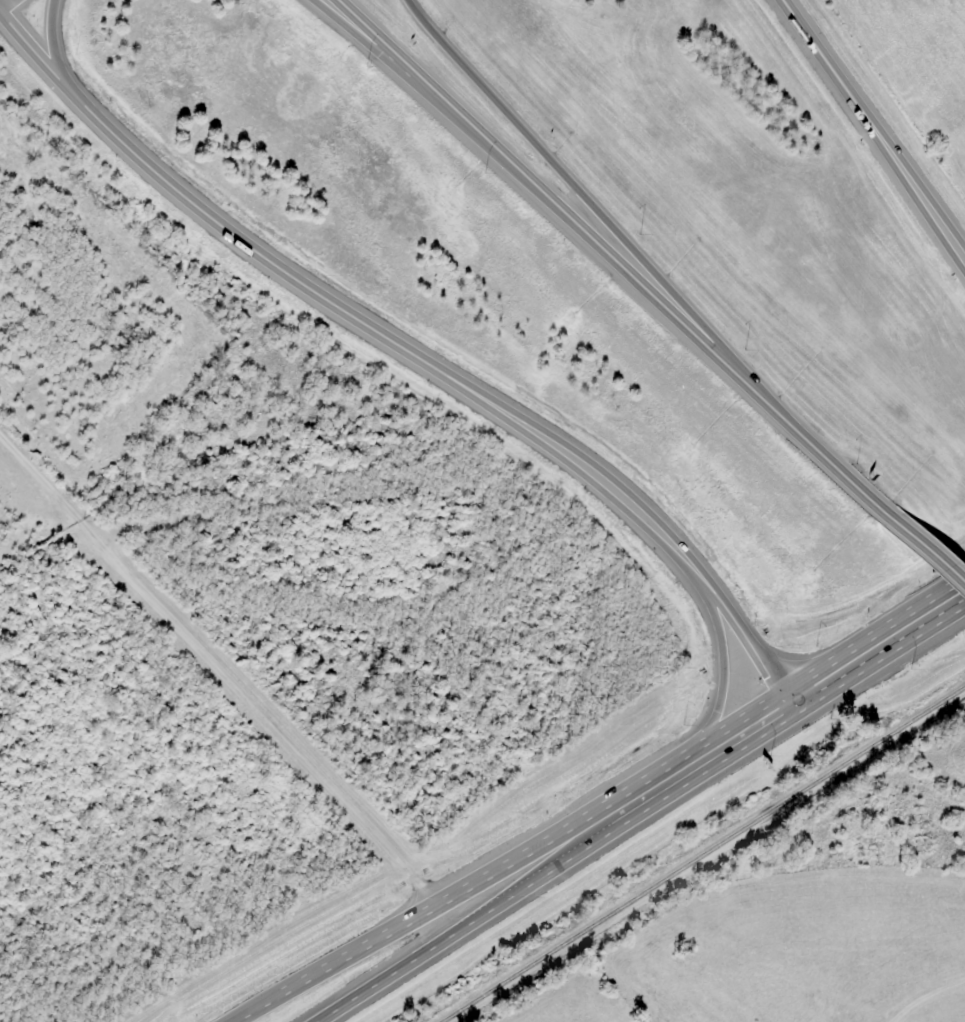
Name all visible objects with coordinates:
road: (5, 4)
road: (55, 54)
road: (39, 58)
road: (458, 114)
road: (442, 115)
road: (873, 129)
road: (575, 188)
road: (659, 304)
road: (457, 379)
road: (812, 447)
road: (925, 553)
road: (875, 644)
road: (721, 662)
road: (704, 752)
railway: (706, 856)
road: (424, 907)
road: (473, 918)

